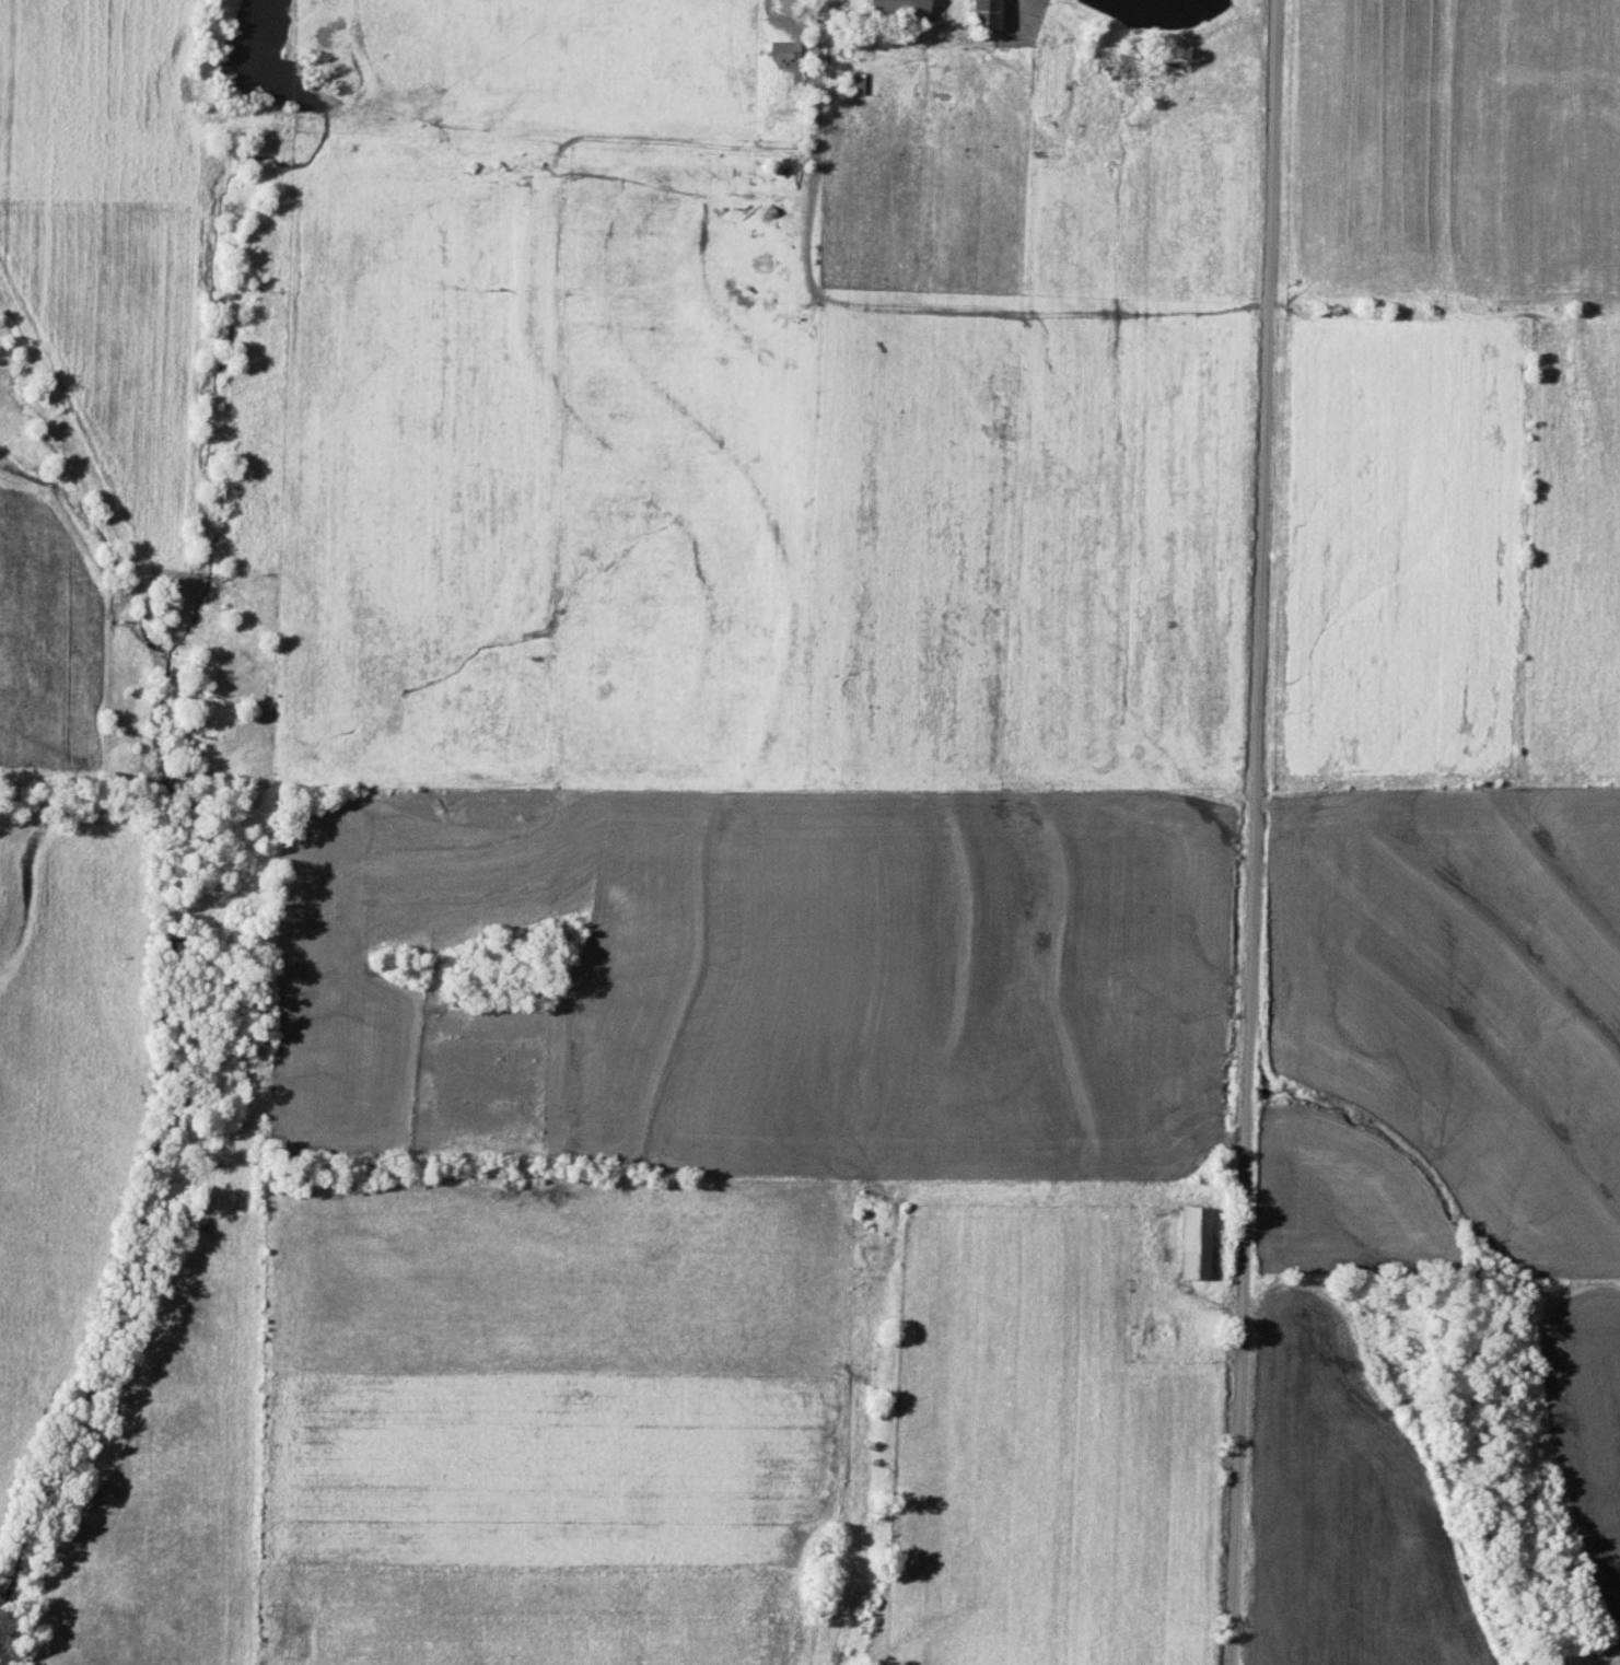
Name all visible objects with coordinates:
building: (888, 7)
building: (976, 14)
building: (1048, 78)
road: (1255, 832)

